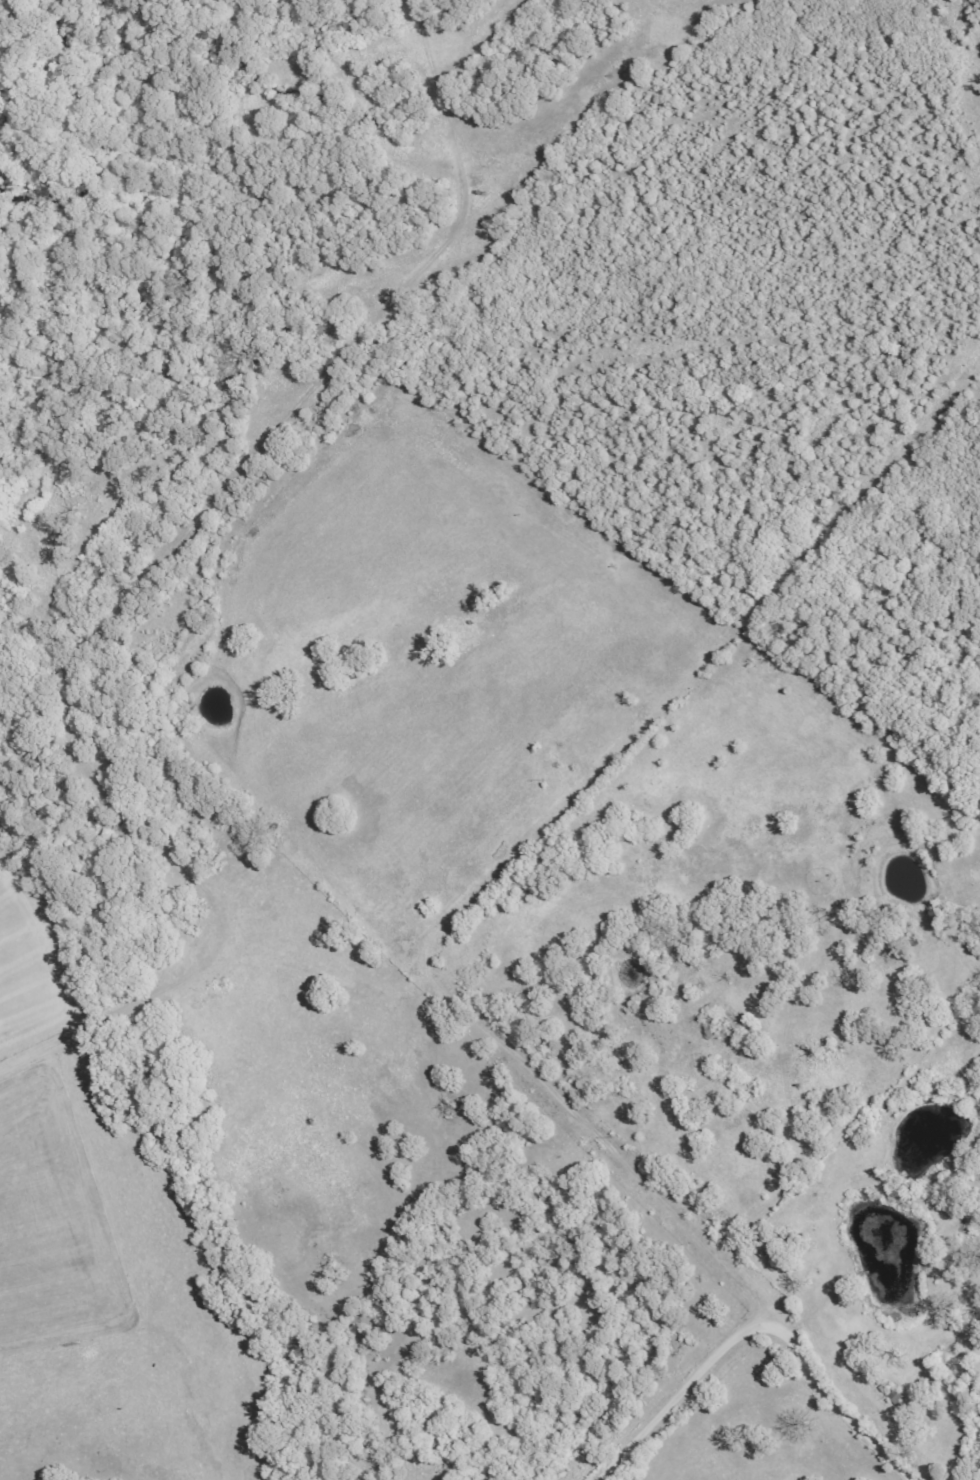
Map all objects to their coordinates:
road: (470, 1268)
road: (757, 1331)
road: (284, 1366)

